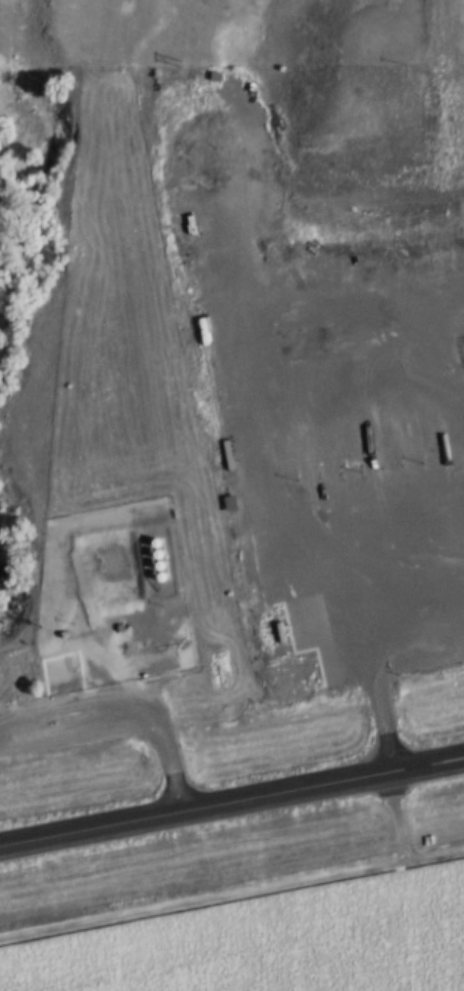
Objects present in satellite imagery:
building: (106, 563)
building: (118, 626)
building: (63, 633)
road: (126, 713)
road: (231, 800)
road: (396, 814)
road: (231, 891)

